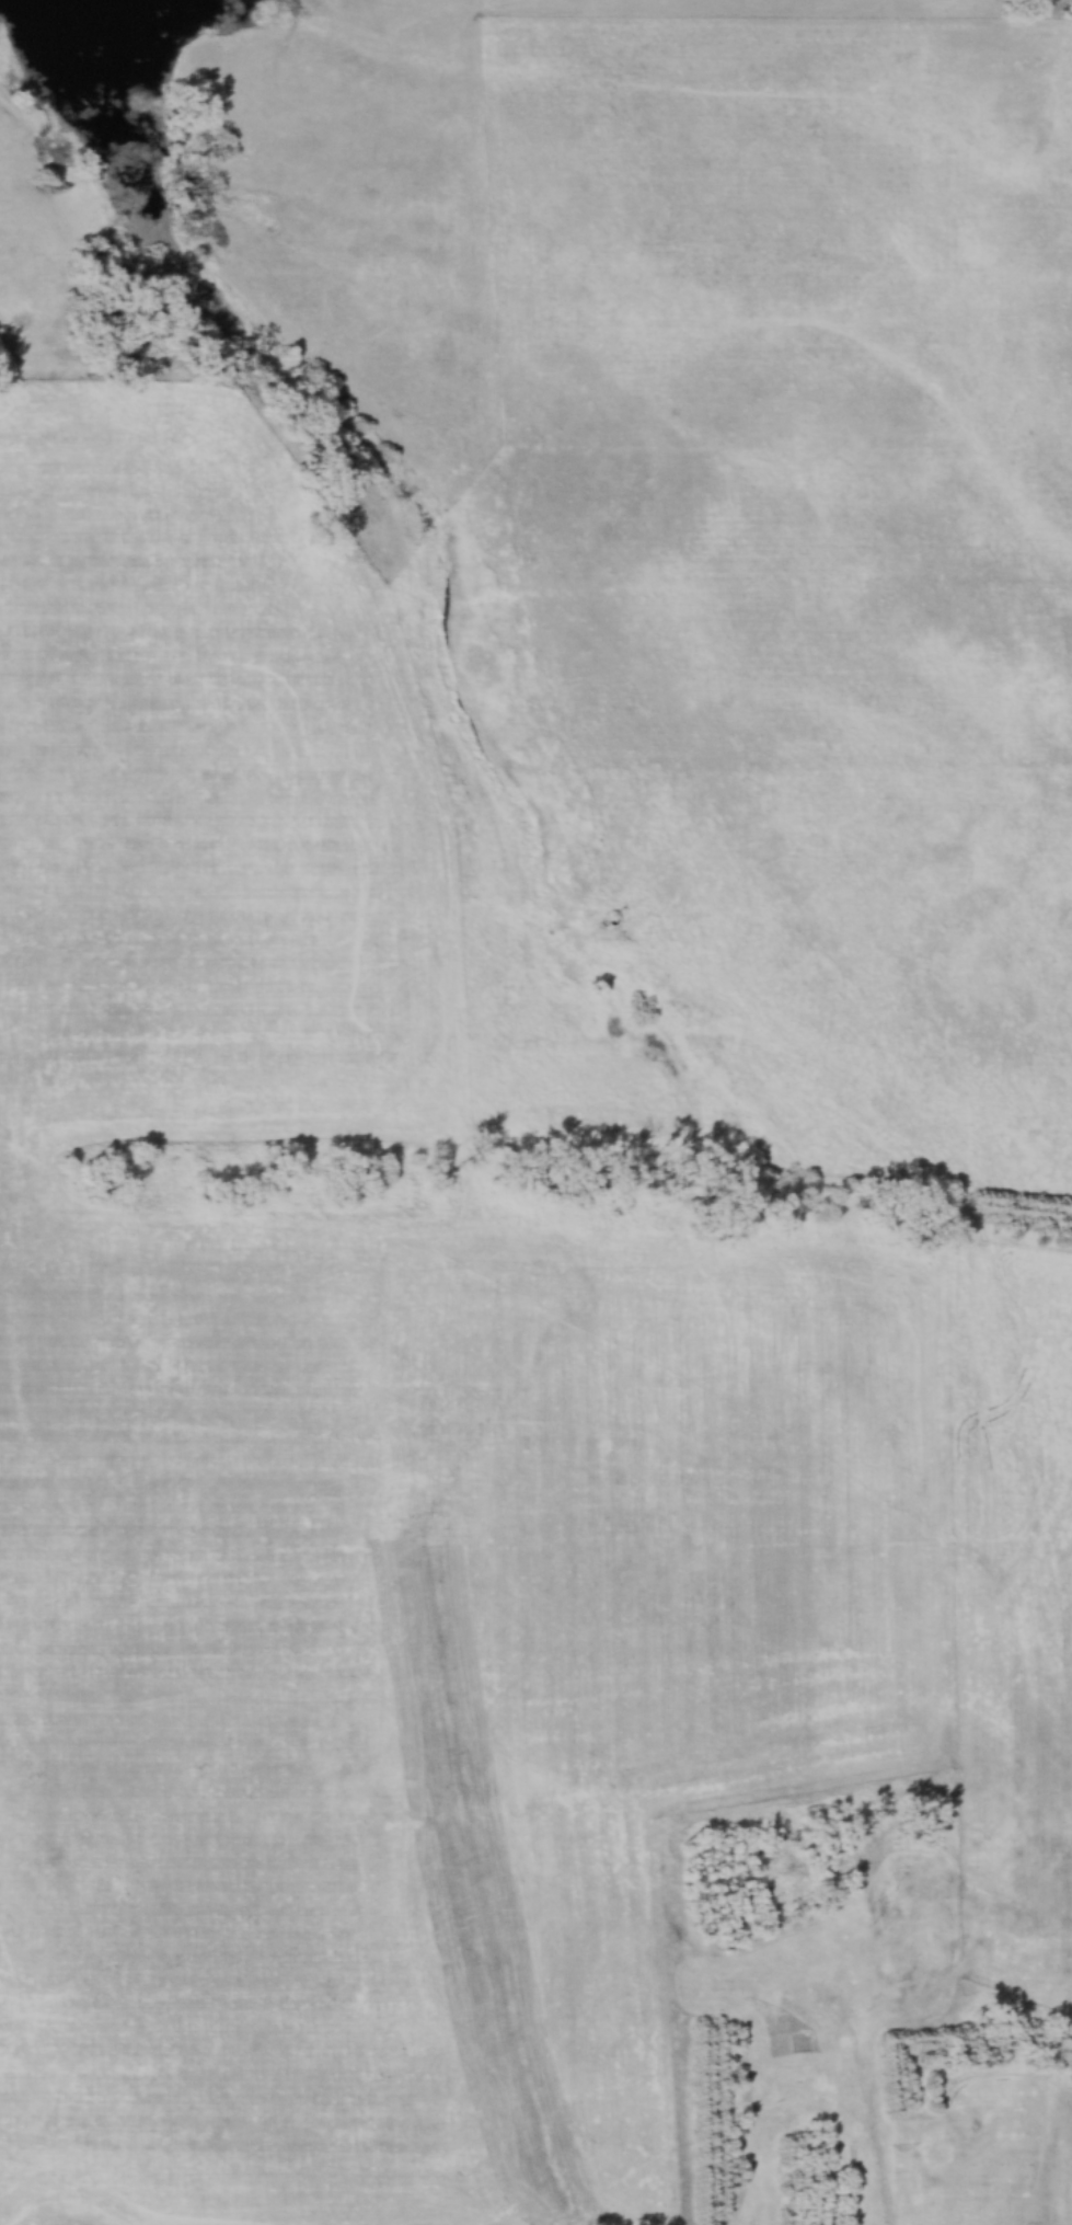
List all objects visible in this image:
building: (798, 2042)
road: (866, 2098)

